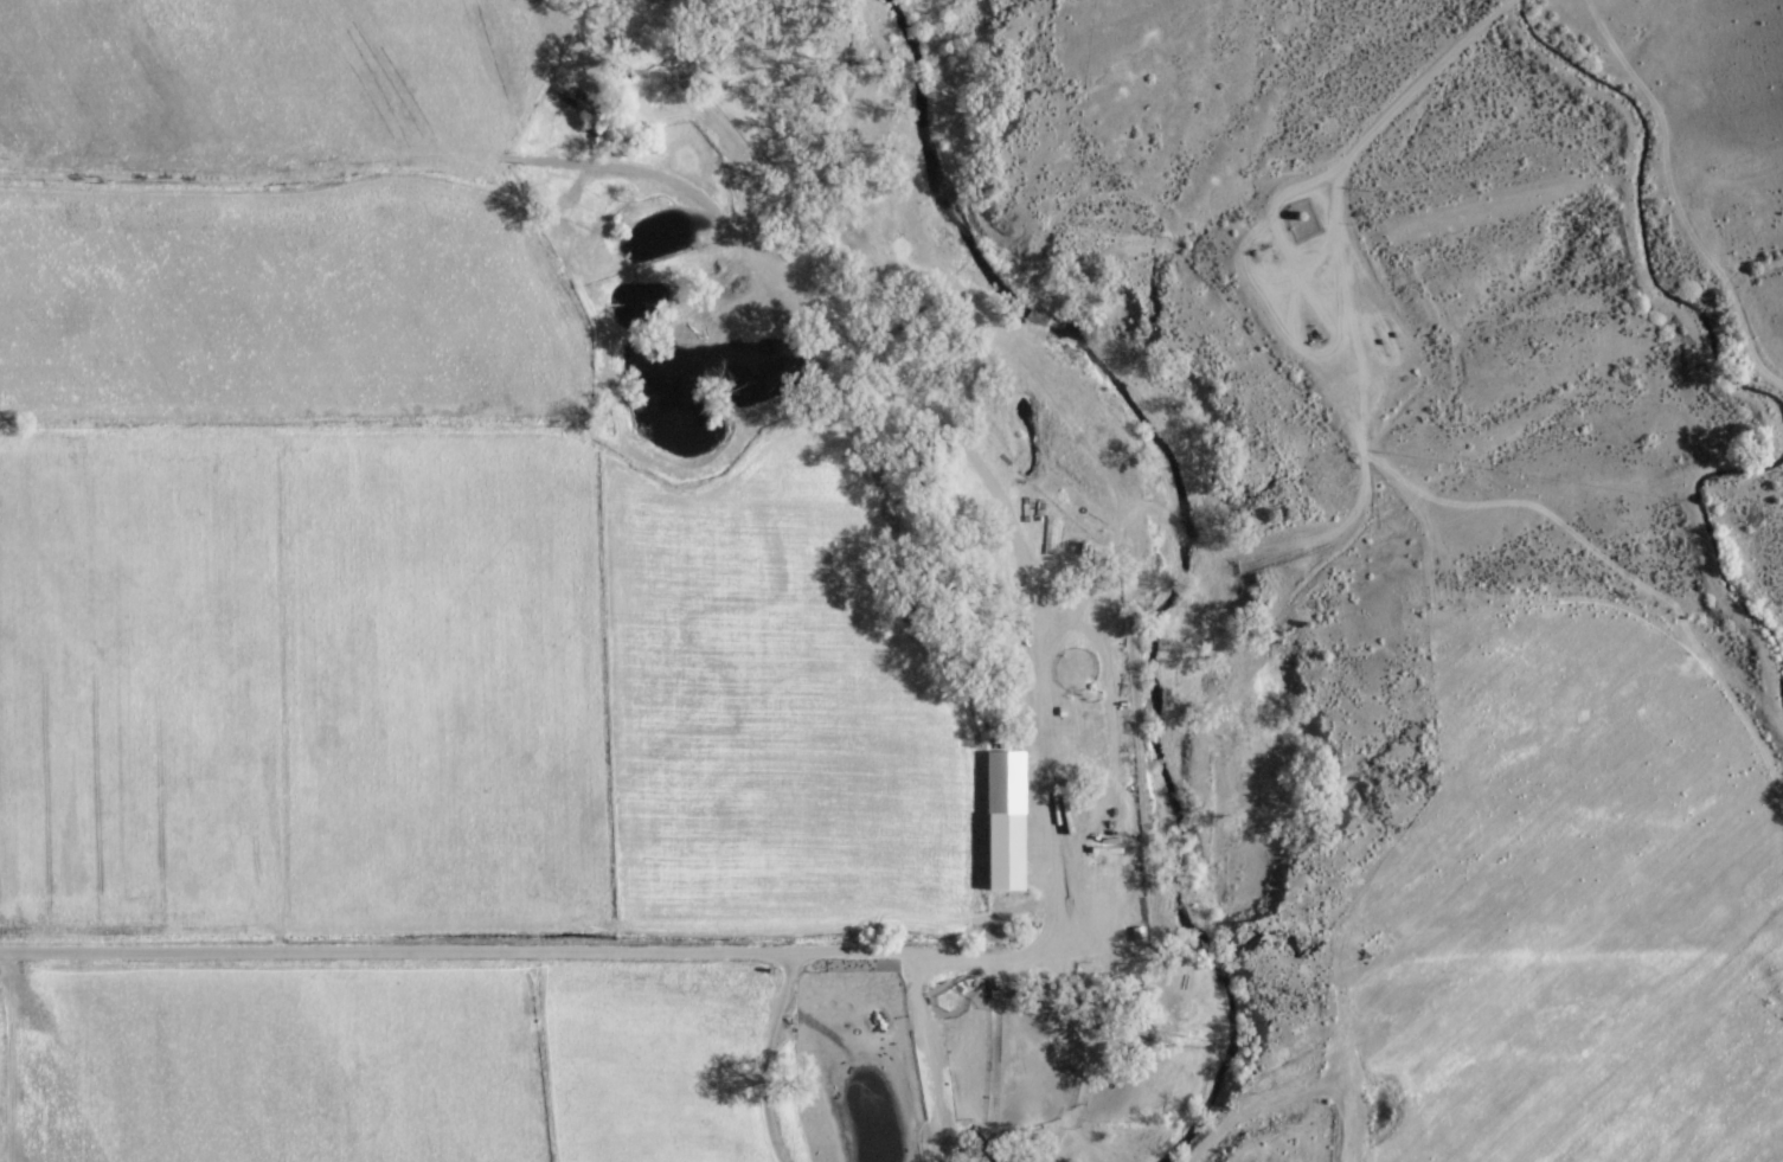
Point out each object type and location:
building: (1051, 537)
river: (1197, 550)
building: (1001, 852)
road: (520, 949)

